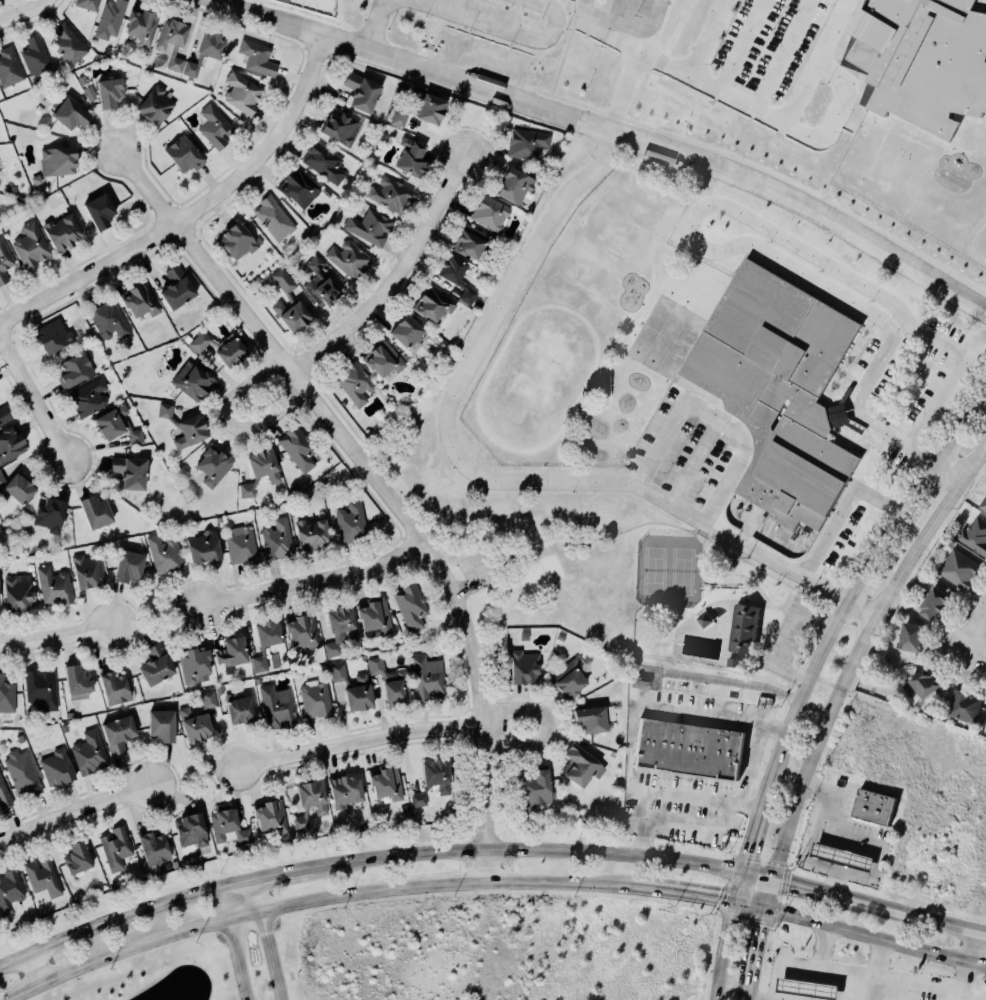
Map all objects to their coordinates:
road: (214, 0)
building: (572, 0)
building: (87, 4)
road: (615, 11)
road: (24, 13)
building: (109, 18)
road: (371, 25)
building: (141, 26)
road: (625, 27)
road: (504, 31)
road: (706, 38)
building: (172, 40)
building: (67, 44)
building: (205, 51)
building: (35, 58)
building: (257, 58)
road: (813, 61)
building: (924, 61)
building: (9, 67)
building: (81, 79)
building: (110, 91)
building: (361, 91)
building: (89, 93)
building: (241, 93)
road: (742, 103)
building: (155, 105)
building: (421, 109)
building: (69, 111)
building: (214, 126)
building: (339, 127)
road: (609, 131)
building: (526, 144)
building: (184, 154)
building: (411, 157)
building: (57, 160)
building: (323, 162)
building: (35, 179)
building: (514, 184)
building: (298, 188)
building: (389, 194)
building: (100, 211)
building: (489, 212)
road: (193, 213)
building: (273, 219)
building: (369, 226)
building: (61, 233)
building: (238, 239)
building: (472, 242)
building: (29, 245)
road: (724, 248)
building: (348, 259)
building: (4, 261)
building: (456, 276)
road: (400, 279)
building: (319, 283)
building: (176, 287)
building: (140, 301)
building: (433, 303)
building: (289, 304)
building: (108, 320)
road: (491, 323)
building: (407, 330)
building: (53, 336)
building: (222, 347)
building: (382, 358)
building: (74, 369)
road: (954, 378)
building: (193, 381)
building: (354, 382)
building: (780, 389)
building: (87, 397)
road: (32, 399)
building: (4, 415)
road: (229, 424)
building: (117, 425)
building: (185, 427)
building: (10, 443)
building: (297, 447)
road: (910, 450)
road: (870, 460)
road: (692, 461)
road: (973, 463)
building: (213, 466)
building: (130, 471)
building: (260, 471)
road: (640, 474)
road: (947, 474)
building: (2, 479)
road: (378, 483)
road: (407, 486)
building: (19, 488)
building: (984, 506)
road: (843, 507)
road: (941, 509)
building: (96, 511)
building: (49, 513)
building: (219, 519)
building: (350, 523)
road: (670, 524)
road: (691, 530)
building: (312, 533)
road: (467, 536)
road: (697, 536)
building: (974, 536)
road: (443, 538)
road: (603, 538)
building: (276, 539)
building: (239, 545)
building: (203, 546)
road: (519, 549)
building: (164, 554)
road: (482, 558)
road: (703, 558)
building: (129, 566)
building: (959, 569)
parking lot: (473, 571)
park: (538, 571)
park: (668, 571)
building: (87, 572)
road: (743, 574)
road: (491, 576)
road: (703, 577)
road: (310, 580)
building: (54, 586)
road: (462, 587)
road: (855, 587)
park: (633, 592)
road: (789, 593)
building: (17, 594)
road: (784, 600)
road: (787, 600)
building: (933, 601)
road: (753, 602)
building: (410, 606)
road: (776, 606)
road: (496, 610)
road: (859, 610)
building: (374, 615)
road: (152, 616)
building: (703, 618)
road: (778, 619)
building: (339, 627)
building: (744, 627)
building: (301, 631)
road: (767, 631)
road: (974, 631)
building: (525, 635)
parking lot: (787, 635)
road: (787, 635)
building: (560, 637)
building: (911, 637)
road: (56, 638)
building: (265, 643)
road: (764, 648)
building: (232, 653)
road: (974, 654)
building: (733, 661)
building: (156, 665)
building: (194, 665)
building: (524, 667)
road: (775, 674)
building: (427, 677)
building: (77, 679)
building: (569, 679)
road: (805, 680)
road: (823, 680)
building: (257, 681)
building: (391, 681)
building: (921, 684)
building: (113, 686)
road: (838, 687)
building: (40, 688)
building: (354, 688)
building: (6, 696)
building: (314, 700)
road: (832, 701)
road: (868, 703)
building: (276, 706)
building: (962, 706)
building: (239, 708)
building: (197, 719)
building: (591, 719)
building: (162, 725)
road: (548, 725)
building: (118, 734)
building: (19, 738)
road: (359, 739)
building: (687, 748)
road: (752, 751)
building: (88, 753)
building: (581, 766)
building: (57, 768)
building: (22, 773)
road: (195, 775)
building: (433, 780)
building: (386, 782)
building: (538, 788)
building: (345, 790)
road: (670, 794)
building: (4, 796)
building: (310, 803)
building: (873, 807)
road: (77, 809)
building: (270, 816)
building: (228, 826)
building: (191, 833)
road: (752, 839)
road: (863, 840)
building: (116, 847)
building: (153, 848)
road: (526, 851)
building: (844, 856)
building: (78, 858)
road: (807, 859)
traffic signals: (744, 873)
road: (268, 875)
road: (758, 876)
building: (42, 877)
traffic signals: (773, 879)
road: (558, 883)
road: (450, 884)
building: (9, 890)
road: (818, 890)
road: (770, 893)
road: (337, 894)
road: (685, 894)
road: (245, 898)
traffic signals: (738, 903)
road: (753, 905)
traffic signals: (768, 908)
road: (112, 919)
road: (924, 919)
road: (730, 936)
road: (876, 940)
road: (234, 942)
road: (759, 943)
road: (971, 948)
road: (133, 950)
road: (270, 955)
road: (876, 958)
road: (777, 963)
road: (33, 970)
park: (156, 974)
road: (869, 974)
road: (965, 982)
building: (809, 988)
road: (751, 989)

